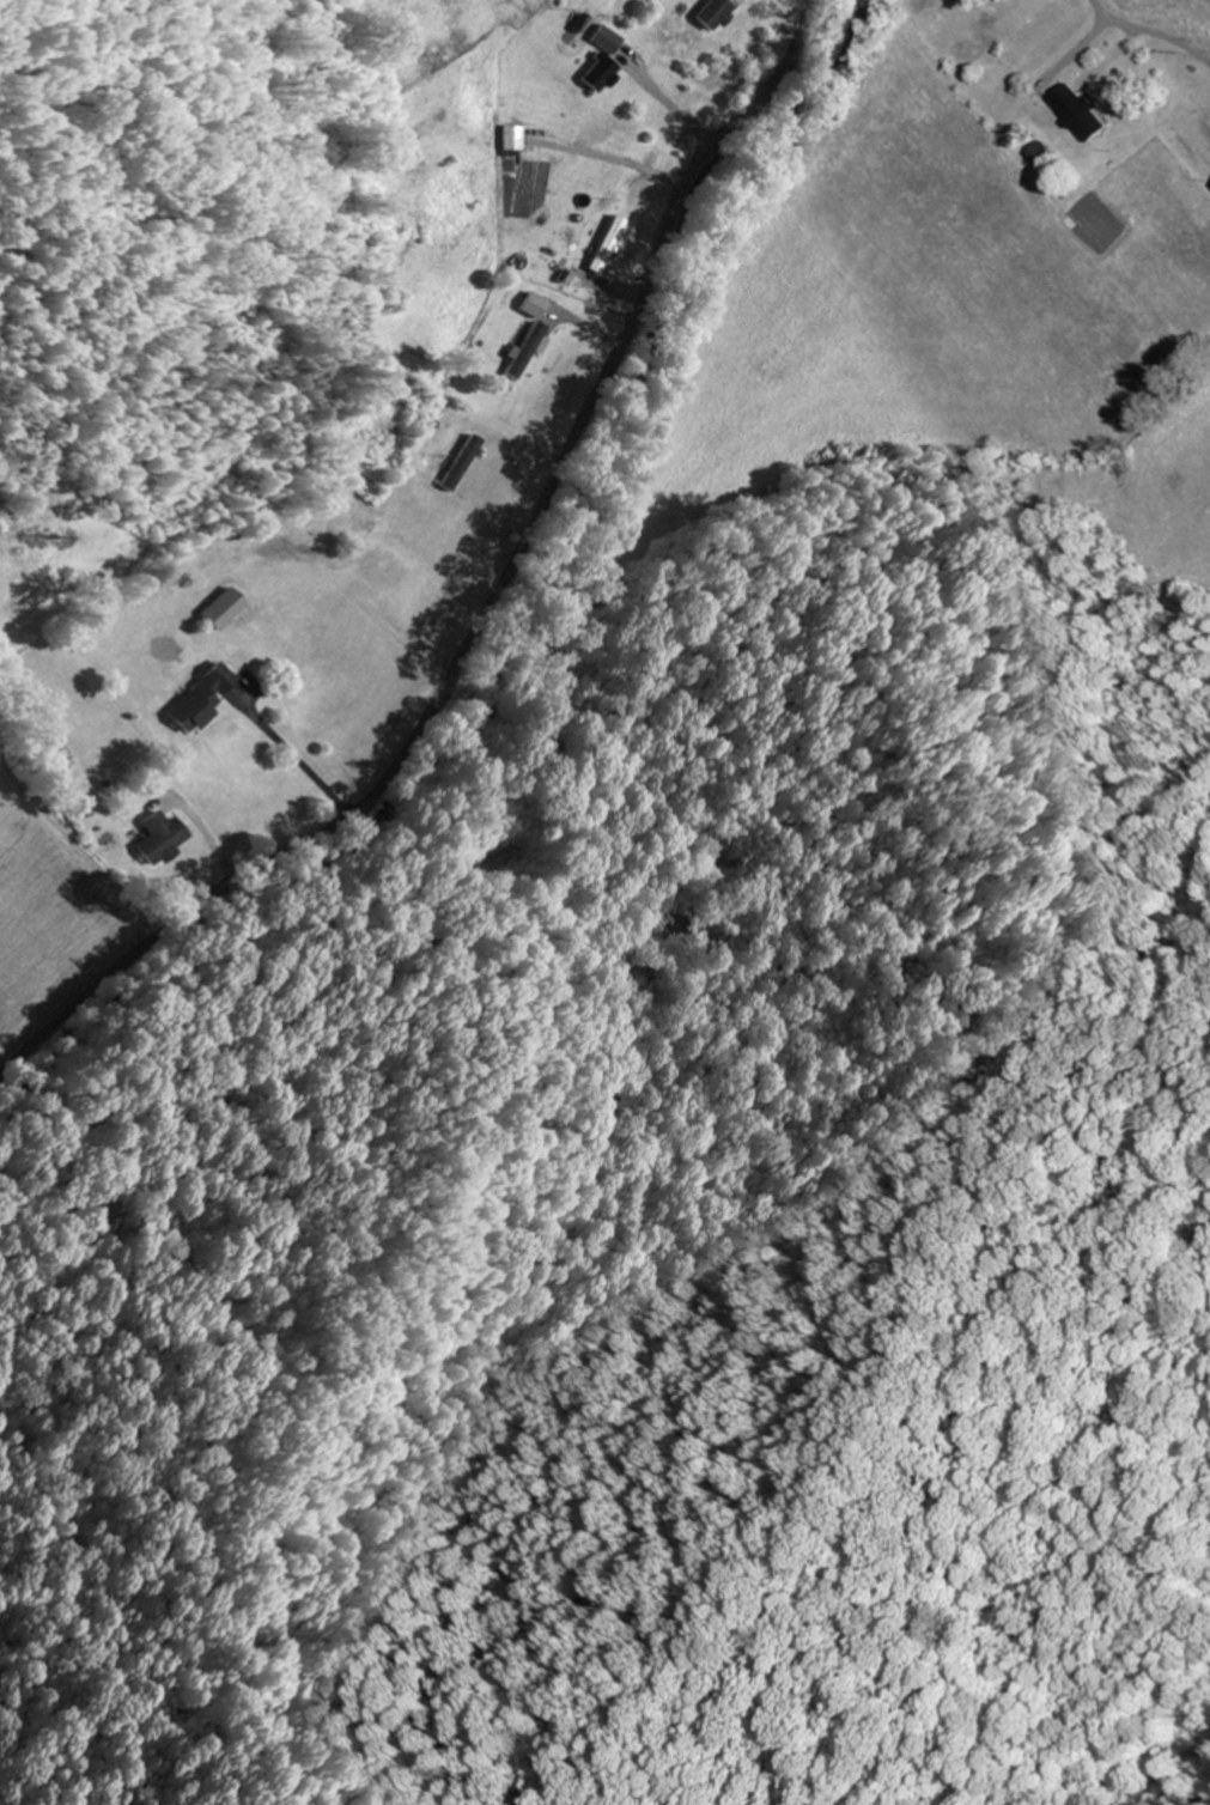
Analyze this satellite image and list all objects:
building: (715, 12)
road: (1169, 30)
building: (600, 72)
building: (1083, 111)
building: (602, 241)
building: (533, 305)
building: (521, 357)
building: (461, 462)
road: (487, 604)
building: (229, 607)
building: (203, 699)
building: (162, 838)

